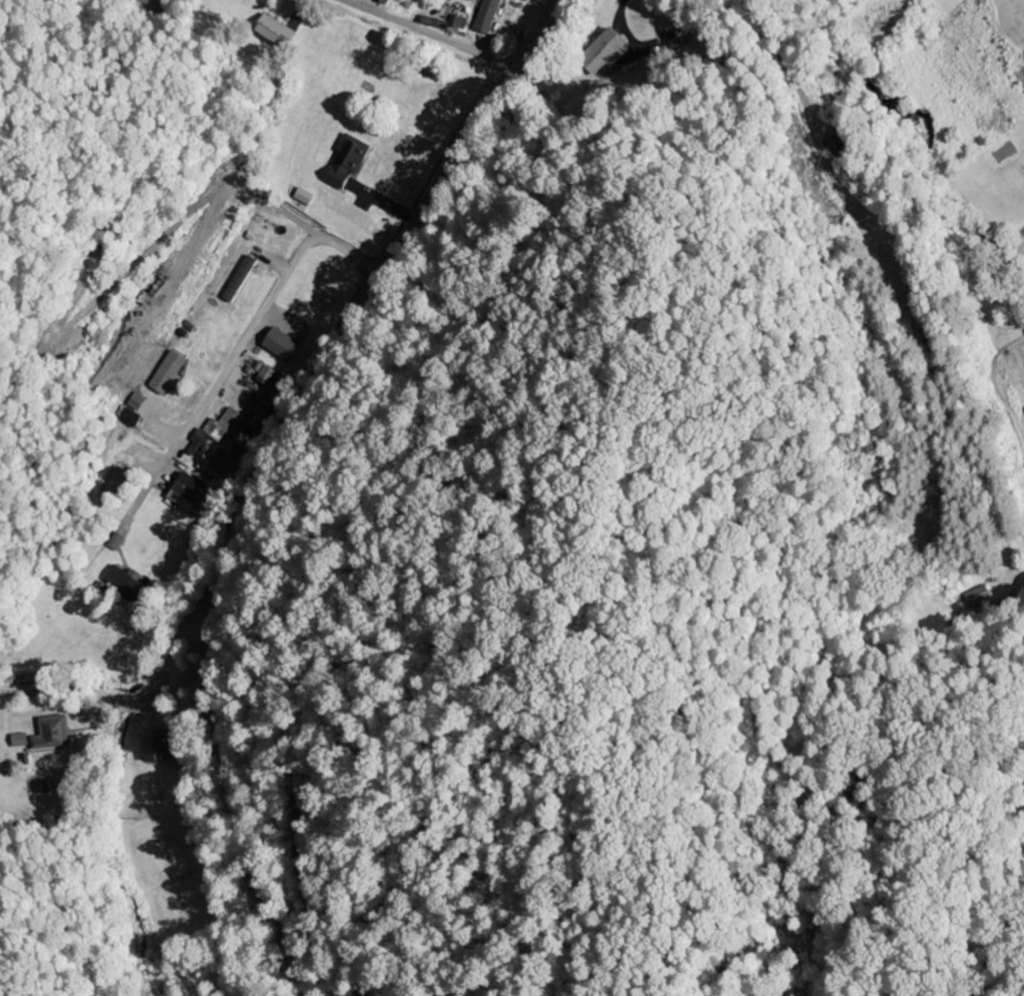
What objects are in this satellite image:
building: (384, 3)
building: (485, 17)
building: (431, 22)
building: (456, 24)
road: (427, 31)
building: (277, 32)
building: (604, 52)
building: (343, 163)
building: (302, 197)
building: (237, 280)
building: (280, 345)
road: (233, 358)
building: (166, 373)
building: (262, 374)
building: (134, 402)
building: (129, 418)
building: (216, 431)
road: (261, 468)
building: (196, 490)
building: (115, 542)
building: (123, 583)
building: (977, 598)
road: (161, 680)
building: (49, 733)
building: (17, 741)
building: (152, 747)
building: (41, 788)

